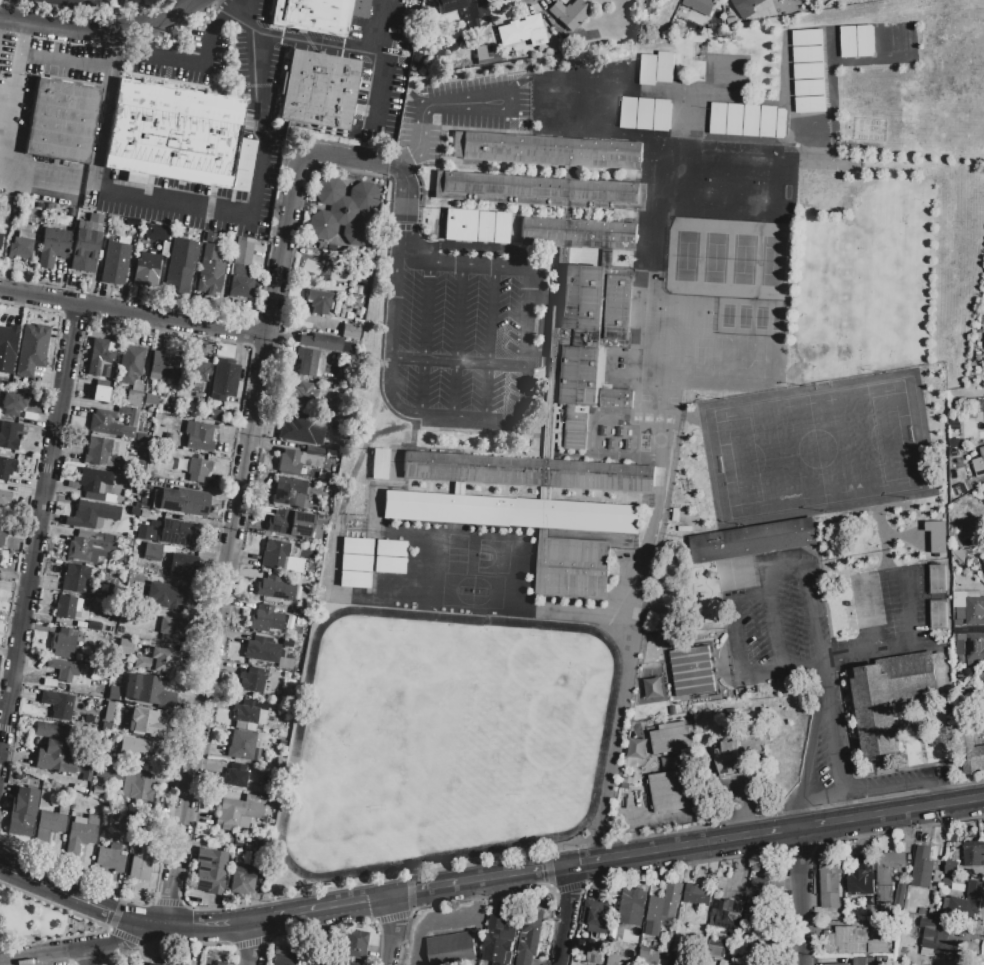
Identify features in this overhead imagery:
building: (700, 6)
parking lot: (252, 7)
building: (472, 7)
building: (746, 7)
road: (244, 9)
road: (6, 10)
road: (74, 13)
building: (568, 13)
building: (317, 14)
road: (217, 20)
parking lot: (393, 22)
building: (518, 29)
road: (99, 30)
road: (141, 40)
road: (297, 40)
building: (857, 42)
parking lot: (5, 49)
building: (481, 57)
road: (66, 59)
parking lot: (253, 59)
parking lot: (186, 60)
road: (189, 63)
building: (414, 63)
building: (657, 69)
building: (809, 72)
parking lot: (367, 89)
building: (318, 90)
road: (14, 93)
road: (380, 94)
road: (447, 100)
road: (102, 108)
building: (646, 115)
building: (61, 120)
building: (748, 120)
parking lot: (13, 121)
road: (264, 121)
building: (145, 128)
building: (214, 143)
building: (546, 150)
road: (406, 157)
road: (45, 173)
building: (539, 190)
road: (170, 199)
parking lot: (208, 201)
building: (343, 210)
road: (406, 213)
building: (476, 225)
building: (156, 232)
building: (0, 234)
building: (578, 234)
building: (85, 244)
building: (20, 246)
building: (52, 246)
building: (164, 247)
building: (114, 262)
building: (181, 263)
building: (148, 264)
park: (734, 265)
building: (209, 266)
building: (241, 270)
parking lot: (465, 285)
building: (318, 301)
road: (134, 315)
road: (256, 316)
building: (350, 331)
road: (424, 337)
road: (458, 339)
building: (320, 341)
road: (496, 341)
building: (7, 347)
building: (32, 348)
building: (584, 351)
building: (100, 355)
building: (306, 360)
road: (458, 360)
building: (129, 363)
building: (163, 364)
building: (197, 369)
building: (223, 379)
road: (246, 380)
building: (100, 390)
building: (303, 394)
building: (134, 395)
building: (13, 403)
building: (123, 410)
road: (524, 411)
building: (158, 416)
building: (108, 424)
building: (301, 428)
building: (9, 434)
building: (200, 435)
building: (141, 436)
building: (313, 450)
building: (101, 452)
road: (34, 459)
building: (289, 461)
building: (379, 463)
building: (140, 464)
building: (979, 465)
building: (6, 467)
building: (163, 467)
building: (197, 469)
building: (172, 470)
building: (94, 483)
road: (240, 491)
building: (289, 491)
building: (630, 492)
building: (4, 498)
road: (248, 498)
building: (183, 501)
building: (983, 502)
building: (150, 512)
building: (91, 513)
building: (294, 524)
road: (39, 531)
building: (2, 532)
building: (181, 532)
building: (936, 536)
building: (751, 541)
building: (85, 547)
building: (424, 549)
building: (152, 550)
building: (274, 554)
building: (389, 557)
building: (355, 562)
building: (983, 562)
building: (182, 566)
building: (572, 568)
building: (74, 577)
road: (886, 577)
building: (937, 579)
building: (270, 586)
road: (808, 592)
building: (175, 596)
building: (65, 606)
road: (912, 610)
building: (975, 611)
building: (938, 615)
road: (772, 616)
road: (871, 617)
building: (265, 618)
road: (734, 620)
building: (169, 628)
building: (62, 642)
building: (124, 646)
building: (975, 646)
building: (261, 649)
road: (869, 656)
parking lot: (830, 658)
building: (157, 660)
building: (63, 669)
road: (782, 671)
building: (693, 672)
building: (982, 677)
building: (252, 679)
building: (146, 689)
building: (113, 694)
building: (57, 704)
building: (882, 705)
building: (108, 710)
building: (245, 711)
building: (146, 721)
building: (105, 725)
building: (103, 736)
building: (671, 738)
park: (444, 740)
building: (240, 744)
building: (135, 746)
road: (612, 746)
building: (53, 747)
building: (970, 754)
building: (729, 757)
building: (87, 768)
building: (108, 772)
building: (235, 774)
road: (840, 777)
road: (815, 781)
road: (967, 784)
building: (137, 785)
road: (941, 788)
building: (672, 791)
road: (939, 793)
road: (822, 798)
road: (963, 801)
building: (240, 810)
building: (21, 811)
road: (770, 816)
building: (48, 825)
building: (80, 833)
road: (757, 835)
road: (596, 844)
building: (974, 854)
building: (111, 857)
building: (141, 863)
building: (922, 867)
building: (952, 868)
building: (210, 869)
road: (520, 875)
building: (888, 875)
building: (862, 877)
building: (242, 879)
road: (60, 884)
building: (830, 885)
road: (433, 889)
building: (697, 895)
road: (802, 896)
road: (58, 899)
building: (755, 900)
building: (965, 903)
road: (327, 908)
building: (632, 908)
building: (663, 909)
road: (65, 910)
building: (730, 915)
road: (565, 916)
road: (140, 919)
building: (595, 920)
road: (209, 924)
road: (393, 930)
building: (529, 936)
building: (934, 938)
building: (499, 940)
building: (856, 940)
road: (252, 943)
building: (355, 944)
road: (83, 949)
building: (452, 950)
building: (717, 950)
building: (594, 953)
road: (91, 956)
building: (284, 957)
building: (613, 959)
building: (344, 962)
building: (222, 963)
building: (152, 964)
building: (178, 964)
building: (838, 964)

